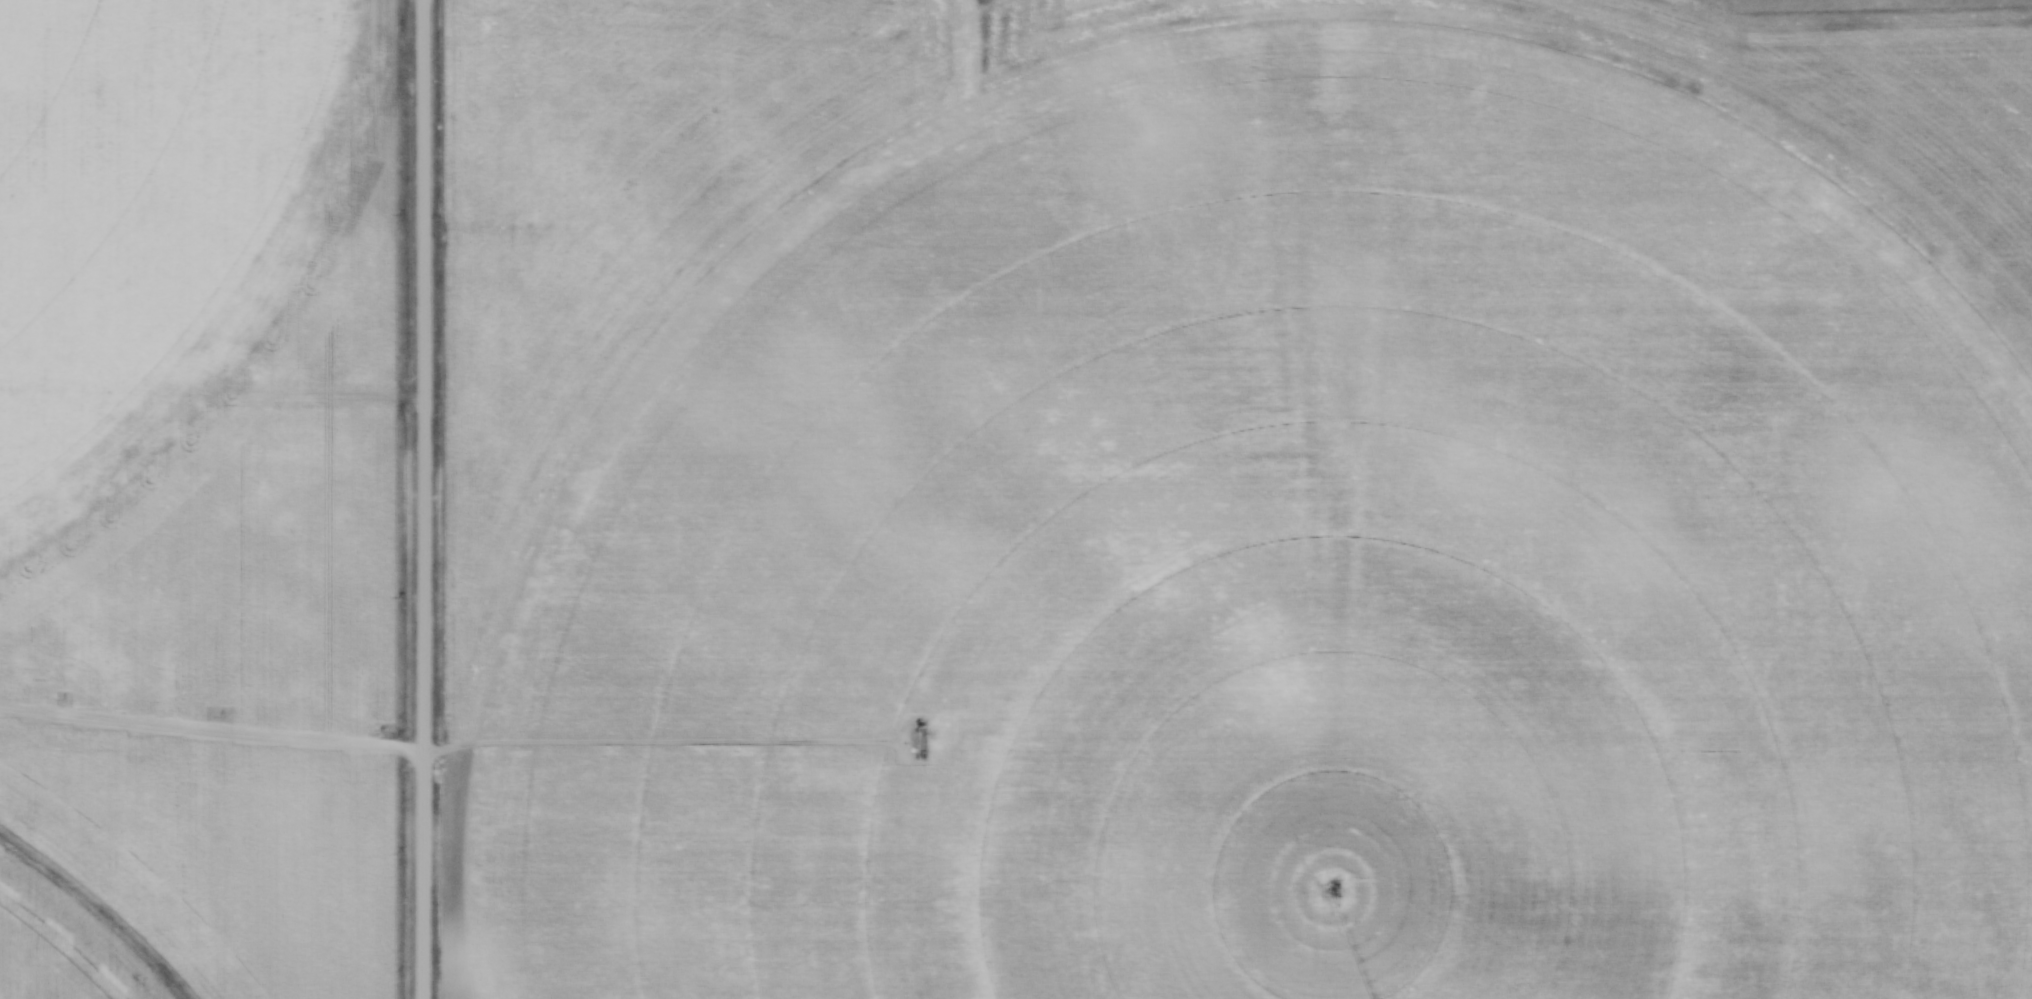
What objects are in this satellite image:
road: (426, 499)

